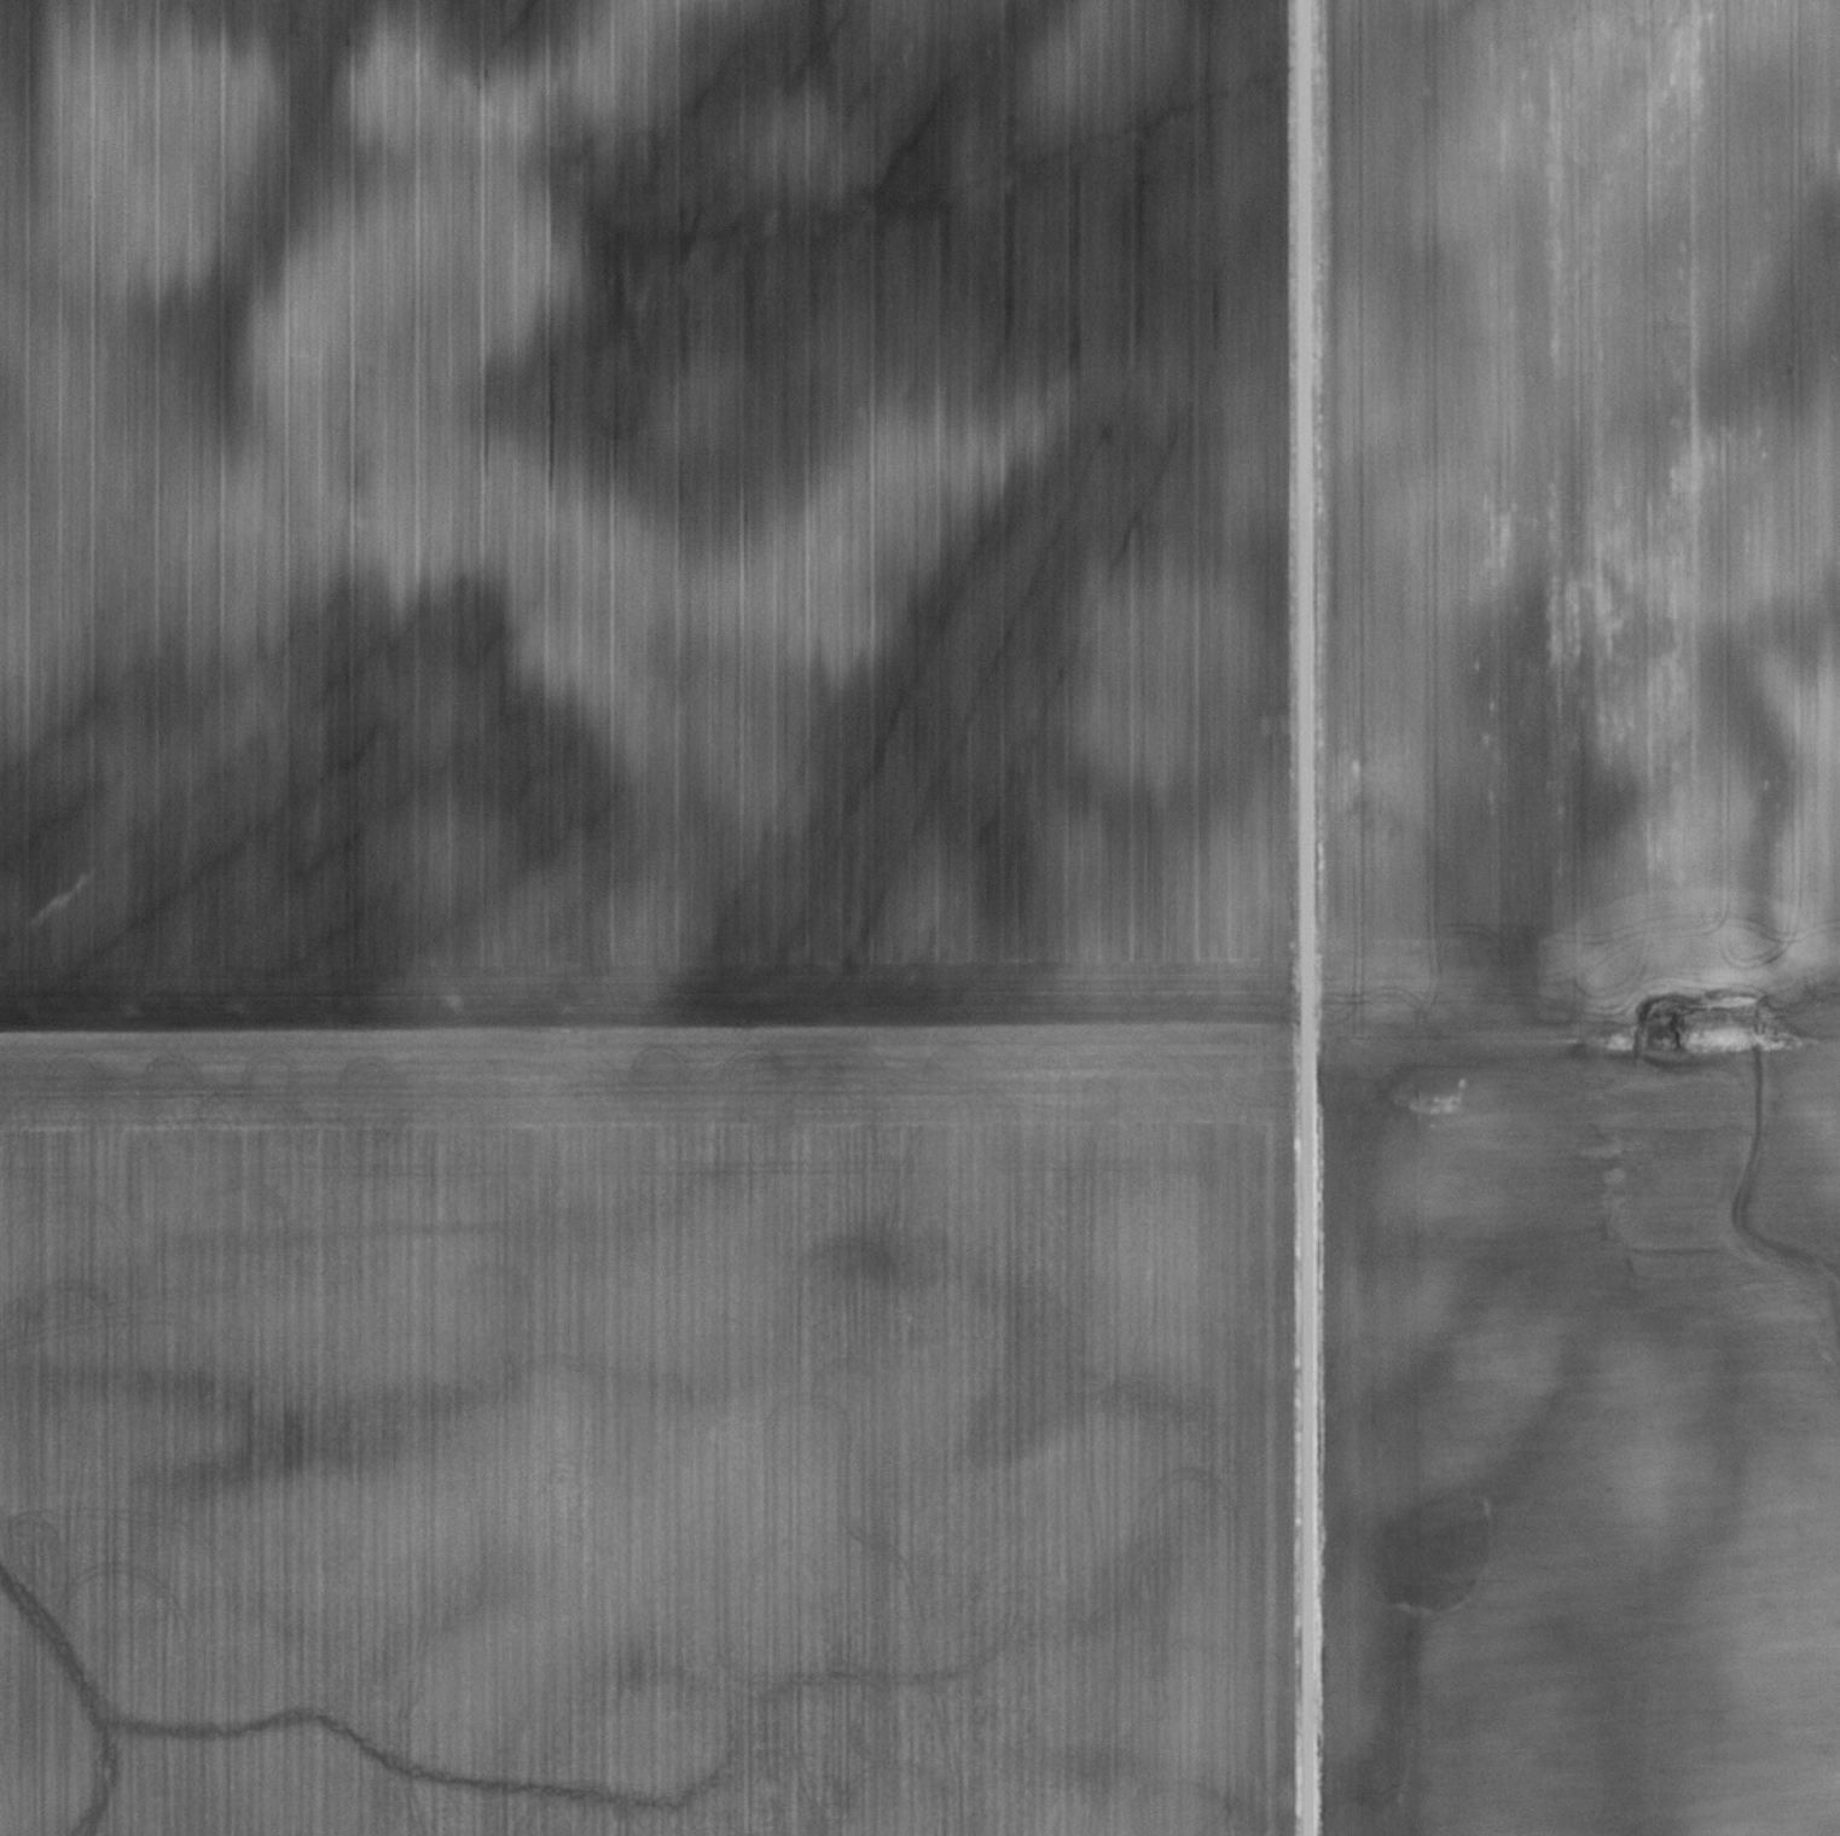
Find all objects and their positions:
road: (1306, 918)

